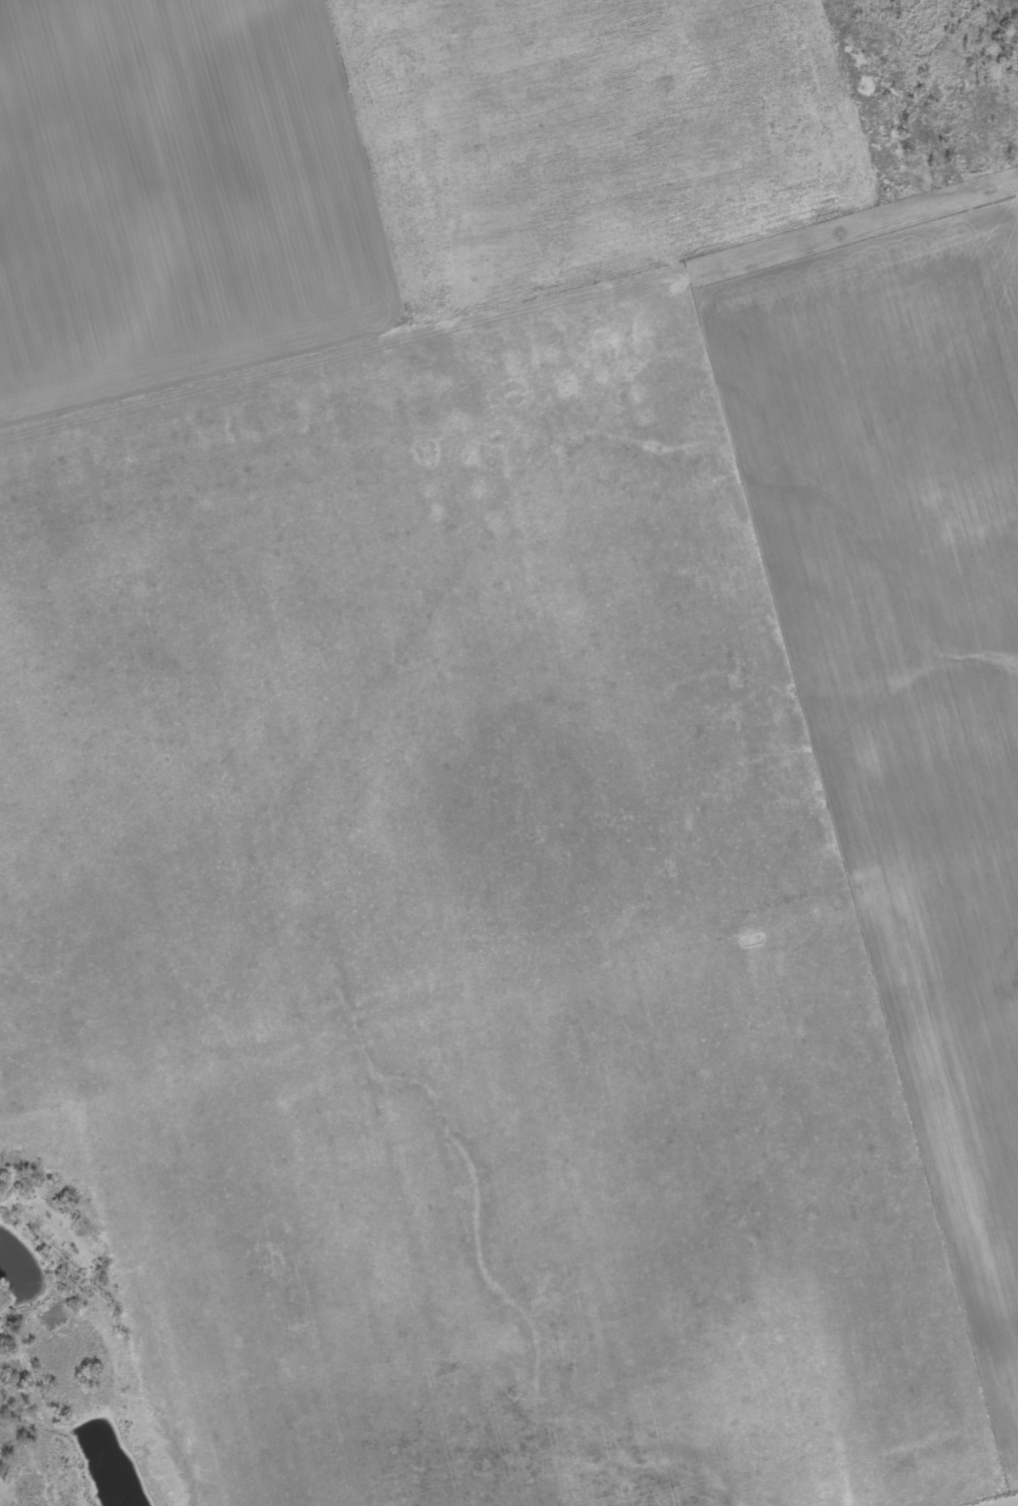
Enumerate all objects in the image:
road: (1006, 1503)

